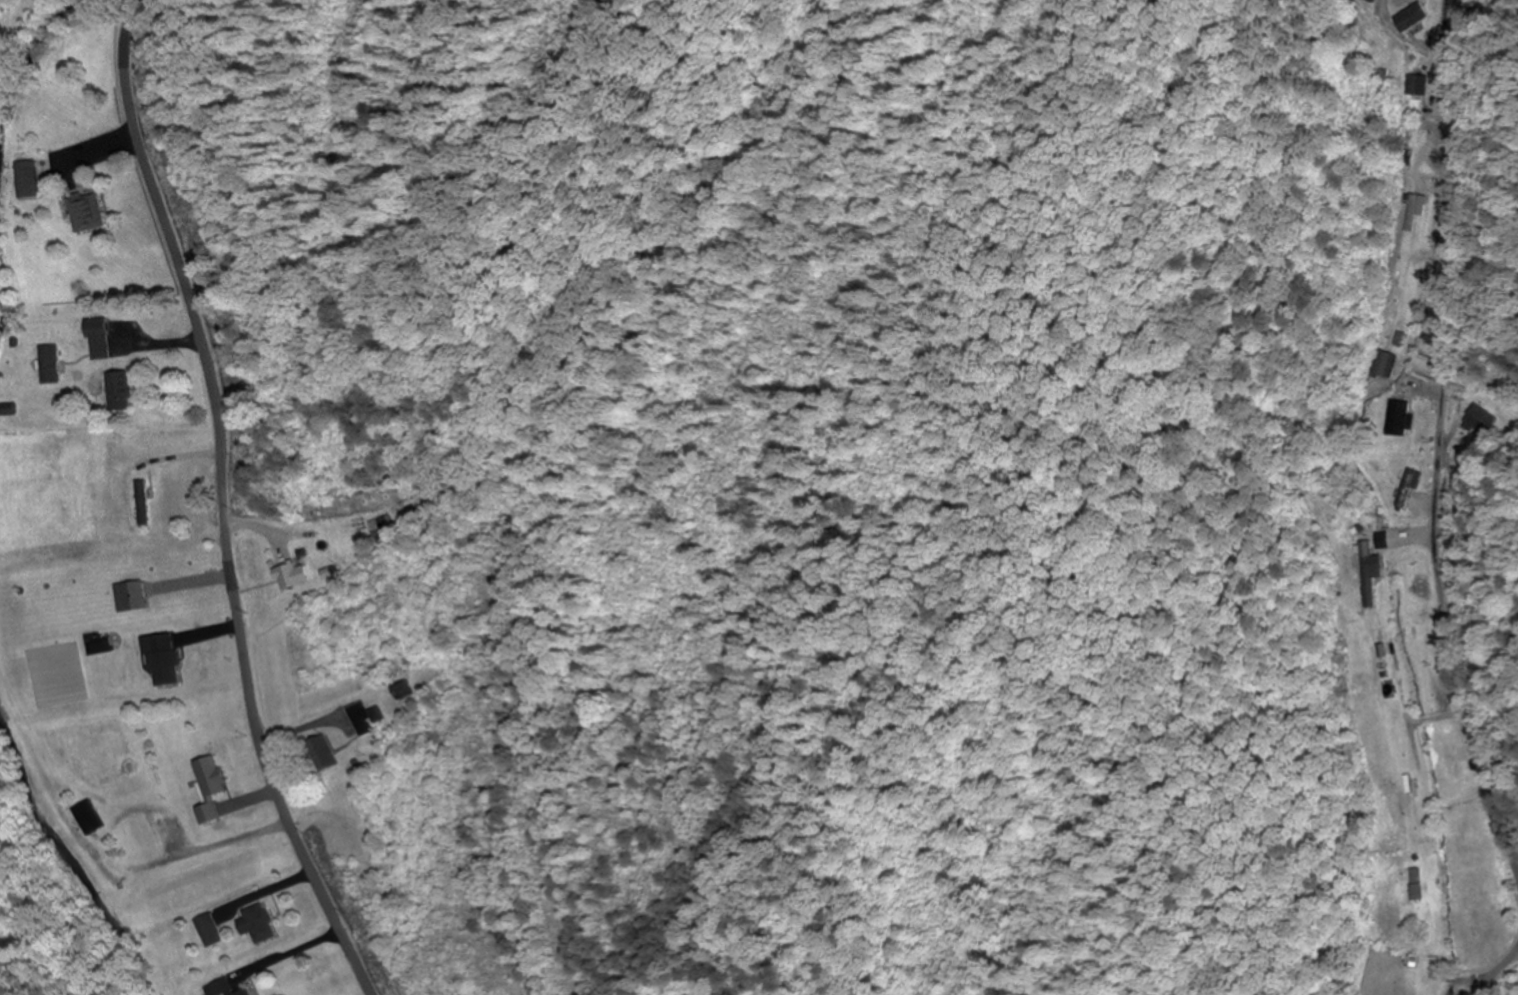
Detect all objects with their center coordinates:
building: (1420, 13)
building: (27, 176)
building: (85, 213)
building: (1410, 214)
building: (98, 340)
building: (1423, 360)
building: (48, 364)
building: (1384, 365)
building: (117, 391)
building: (1482, 421)
road: (1440, 445)
building: (1408, 489)
road: (220, 502)
building: (140, 503)
building: (378, 527)
building: (289, 575)
building: (127, 596)
building: (97, 646)
building: (160, 660)
building: (402, 691)
building: (365, 719)
building: (322, 754)
building: (210, 787)
building: (1413, 807)
building: (1416, 885)
building: (257, 924)
building: (209, 932)
road: (1497, 968)
building: (247, 993)

